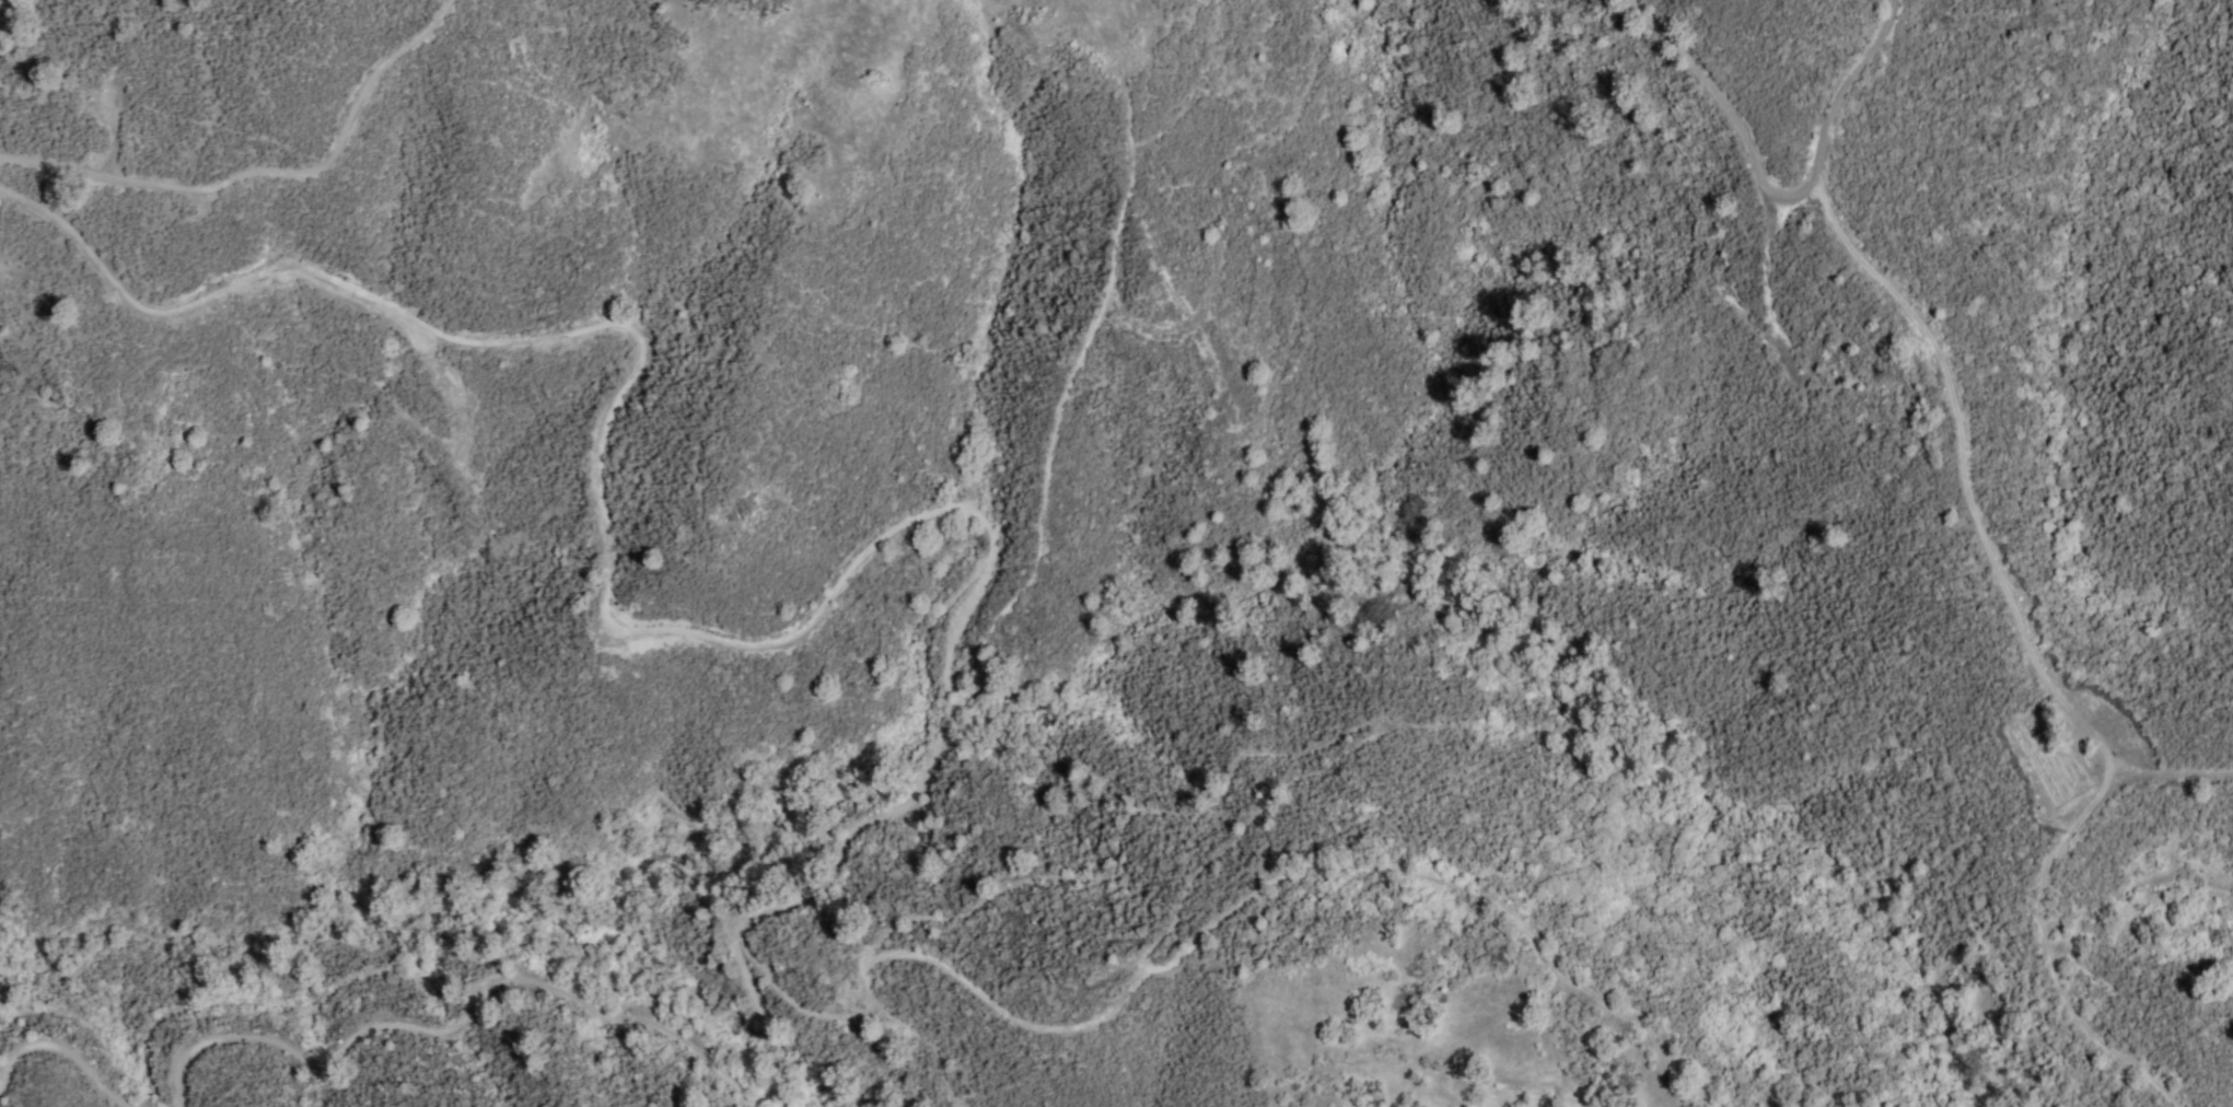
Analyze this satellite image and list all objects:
road: (1729, 106)
road: (267, 165)
road: (1083, 346)
road: (1999, 584)
road: (598, 613)
road: (2168, 768)
road: (1112, 832)
road: (1449, 887)
road: (725, 935)
road: (922, 1045)
road: (57, 1057)

